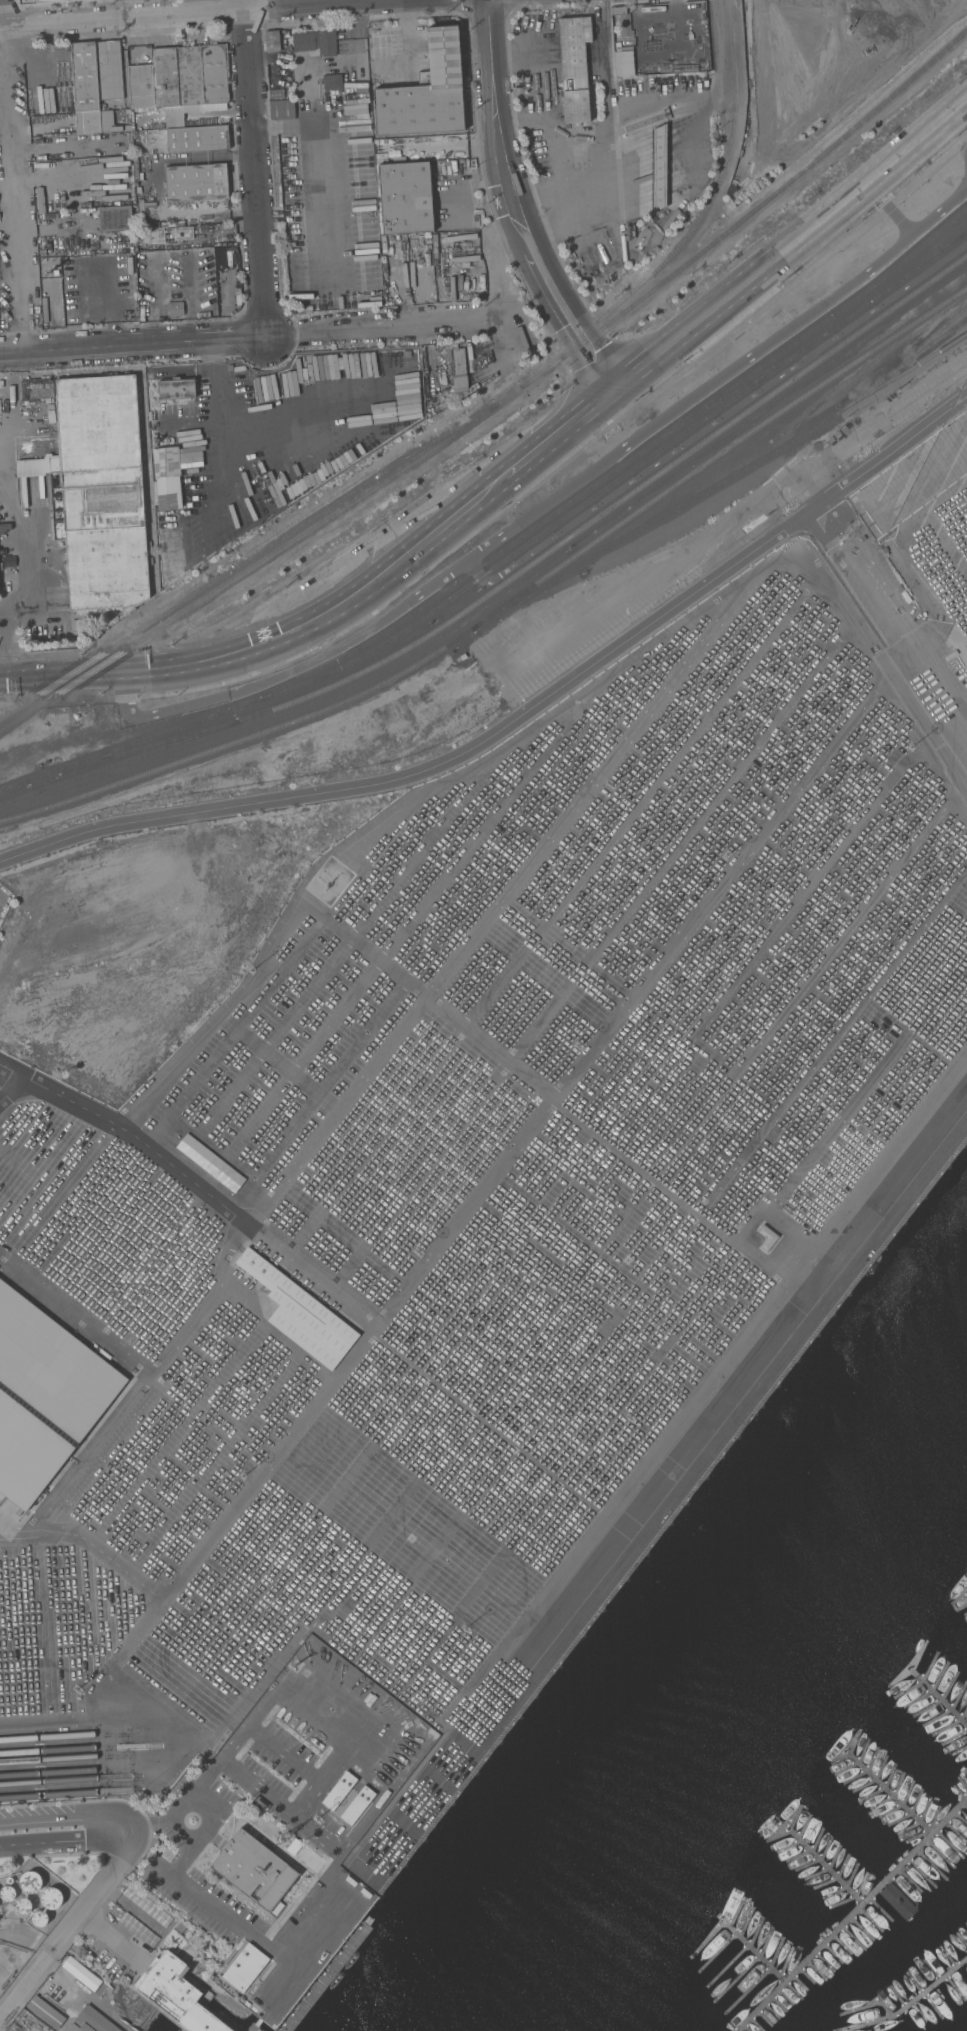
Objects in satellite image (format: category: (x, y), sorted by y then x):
building: (52, 1)
road: (119, 8)
road: (192, 12)
building: (647, 16)
building: (625, 24)
road: (404, 33)
building: (273, 41)
building: (304, 41)
building: (326, 41)
road: (516, 45)
building: (828, 46)
building: (574, 67)
building: (110, 70)
building: (215, 73)
building: (190, 75)
building: (167, 76)
building: (332, 81)
road: (740, 85)
building: (141, 87)
building: (90, 92)
building: (427, 92)
building: (277, 93)
building: (282, 109)
road: (498, 110)
building: (175, 122)
road: (550, 134)
building: (198, 139)
road: (611, 140)
road: (202, 156)
building: (193, 157)
road: (252, 167)
building: (659, 167)
building: (195, 182)
building: (406, 198)
road: (10, 202)
building: (186, 206)
railway: (752, 209)
building: (112, 220)
railway: (697, 222)
building: (183, 233)
building: (152, 236)
building: (447, 237)
railway: (953, 241)
building: (435, 245)
road: (498, 287)
road: (570, 299)
road: (554, 307)
building: (175, 308)
road: (382, 327)
railway: (947, 334)
railway: (925, 341)
road: (131, 344)
building: (459, 369)
railway: (903, 374)
railway: (740, 387)
building: (176, 389)
road: (587, 408)
railway: (713, 433)
railway: (720, 450)
building: (166, 463)
railway: (603, 477)
railway: (728, 479)
building: (98, 491)
road: (19, 515)
building: (169, 520)
railway: (265, 556)
railway: (507, 556)
building: (172, 564)
railway: (238, 565)
road: (851, 574)
building: (78, 626)
road: (88, 673)
road: (521, 714)
railway: (236, 721)
railway: (246, 737)
railway: (146, 746)
railway: (13, 785)
road: (490, 913)
road: (11, 1087)
road: (606, 1139)
parking lot: (479, 1166)
building: (219, 1170)
building: (767, 1237)
road: (312, 1277)
building: (301, 1313)
building: (44, 1395)
road: (652, 1456)
road: (143, 1622)
pier: (938, 1694)
road: (305, 1708)
railway: (48, 1738)
railway: (49, 1752)
railway: (49, 1761)
railway: (49, 1775)
railway: (50, 1783)
building: (339, 1790)
pier: (890, 1791)
railway: (50, 1796)
building: (357, 1805)
road: (155, 1821)
road: (51, 1829)
pier: (825, 1863)
building: (254, 1869)
building: (31, 1882)
storage tank: (31, 1882)
building: (8, 1893)
storage tank: (8, 1893)
building: (51, 1897)
storage tank: (51, 1897)
building: (897, 1900)
building: (24, 1905)
storage tank: (24, 1905)
building: (147, 1905)
road: (76, 1914)
pier: (852, 1914)
building: (40, 1918)
storage tank: (40, 1918)
building: (180, 1927)
road: (244, 1927)
building: (139, 1929)
road: (110, 1937)
pier: (753, 1948)
building: (202, 1962)
building: (245, 1967)
building: (80, 1973)
building: (178, 1993)
pier: (910, 2005)
building: (46, 2012)
building: (92, 2021)

